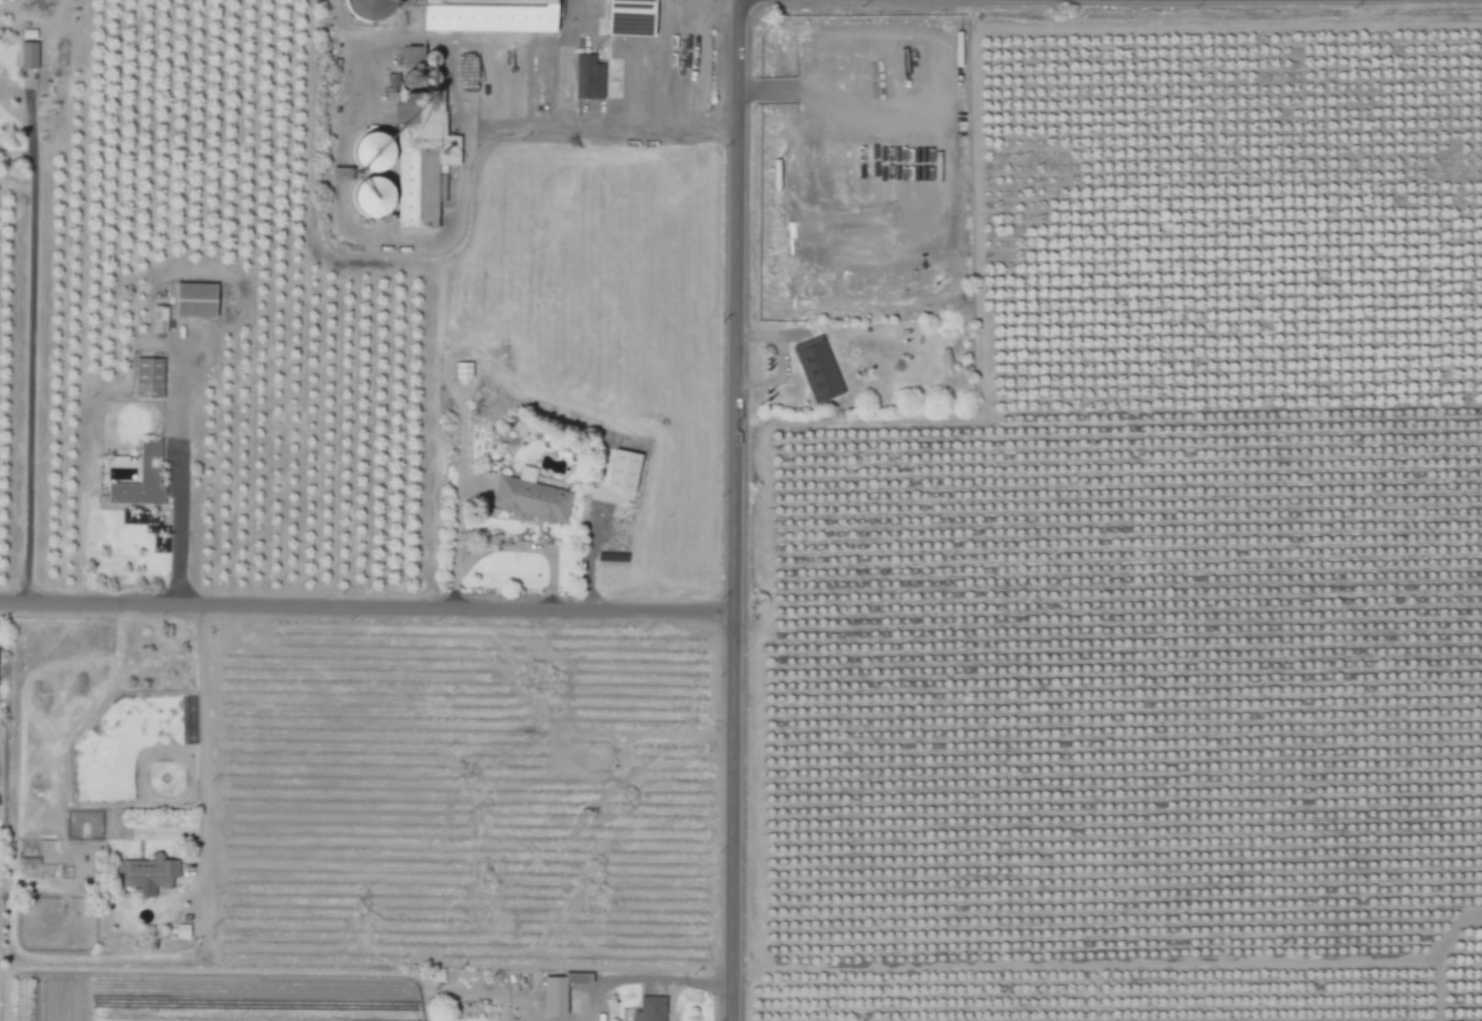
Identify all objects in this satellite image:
building: (369, 9)
building: (489, 16)
building: (631, 18)
building: (30, 56)
building: (590, 78)
road: (635, 132)
building: (372, 153)
building: (422, 157)
building: (370, 198)
building: (196, 301)
building: (160, 320)
road: (32, 351)
building: (819, 371)
building: (150, 379)
building: (622, 478)
building: (142, 481)
building: (533, 498)
road: (742, 510)
road: (180, 531)
road: (508, 547)
road: (370, 610)
road: (161, 835)
building: (150, 874)
building: (183, 931)
building: (438, 975)
building: (580, 978)
building: (555, 996)
building: (653, 1009)

